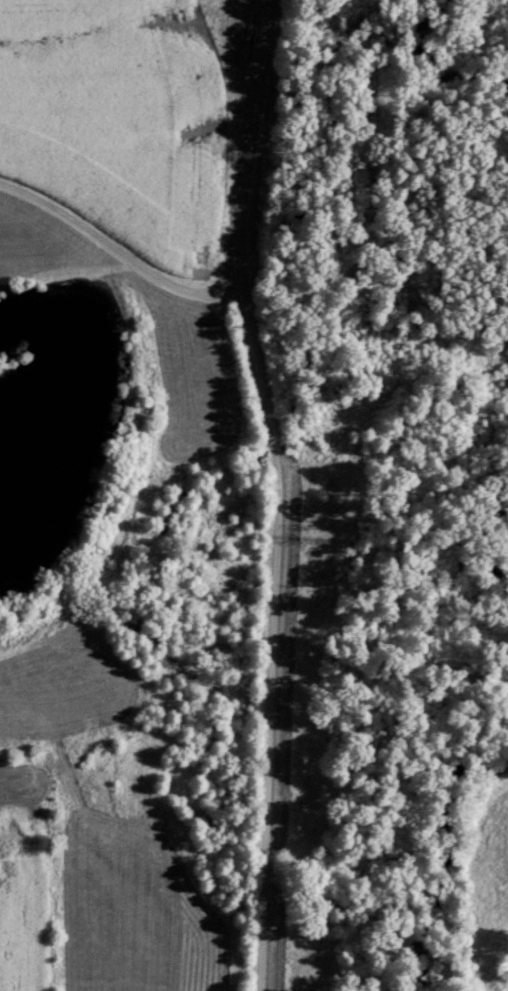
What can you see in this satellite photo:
road: (120, 244)
road: (280, 492)

